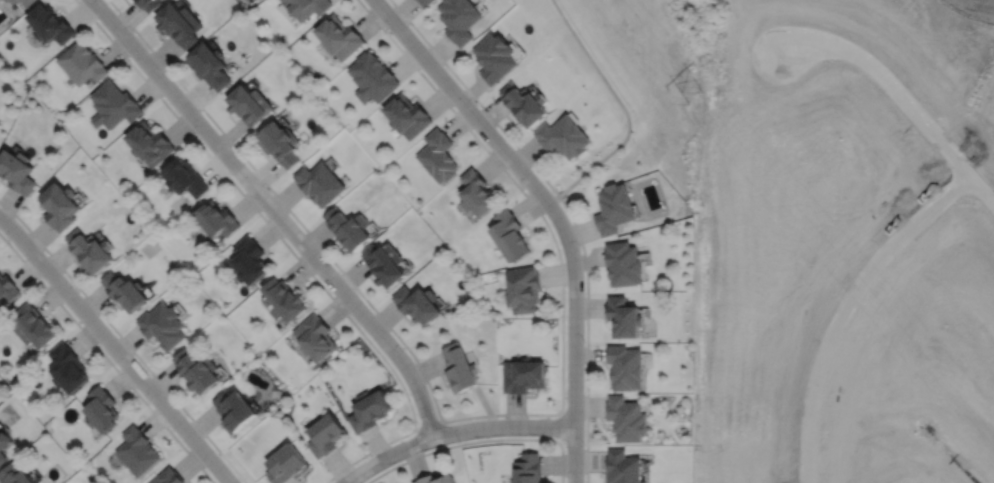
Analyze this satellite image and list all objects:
building: (7, 0)
building: (23, 2)
building: (425, 2)
building: (148, 4)
building: (305, 7)
building: (459, 19)
building: (50, 25)
building: (178, 25)
building: (338, 38)
building: (495, 59)
building: (82, 64)
building: (208, 67)
park: (629, 68)
road: (878, 77)
building: (372, 78)
power tower: (692, 97)
building: (525, 105)
building: (113, 106)
building: (247, 106)
road: (624, 109)
building: (407, 117)
road: (478, 121)
road: (505, 133)
road: (194, 137)
building: (564, 139)
building: (149, 141)
building: (278, 145)
building: (439, 154)
building: (17, 173)
building: (184, 175)
building: (320, 181)
building: (478, 191)
road: (978, 191)
building: (614, 207)
building: (60, 208)
road: (274, 212)
building: (217, 217)
building: (350, 226)
building: (511, 233)
building: (90, 248)
building: (249, 258)
building: (387, 262)
building: (623, 262)
building: (8, 287)
building: (525, 287)
building: (125, 289)
building: (283, 299)
building: (420, 302)
road: (836, 304)
building: (623, 316)
building: (163, 324)
building: (33, 325)
building: (316, 336)
road: (124, 340)
road: (115, 349)
road: (106, 358)
road: (574, 366)
building: (626, 366)
building: (68, 367)
building: (462, 367)
building: (198, 370)
building: (525, 375)
road: (587, 383)
road: (403, 388)
building: (102, 409)
building: (234, 409)
building: (370, 409)
road: (473, 417)
building: (626, 417)
road: (428, 425)
road: (561, 427)
road: (453, 432)
building: (326, 434)
road: (479, 441)
building: (4, 445)
building: (138, 450)
building: (287, 464)
building: (623, 467)
building: (529, 468)
building: (15, 474)
building: (169, 476)
building: (438, 479)

